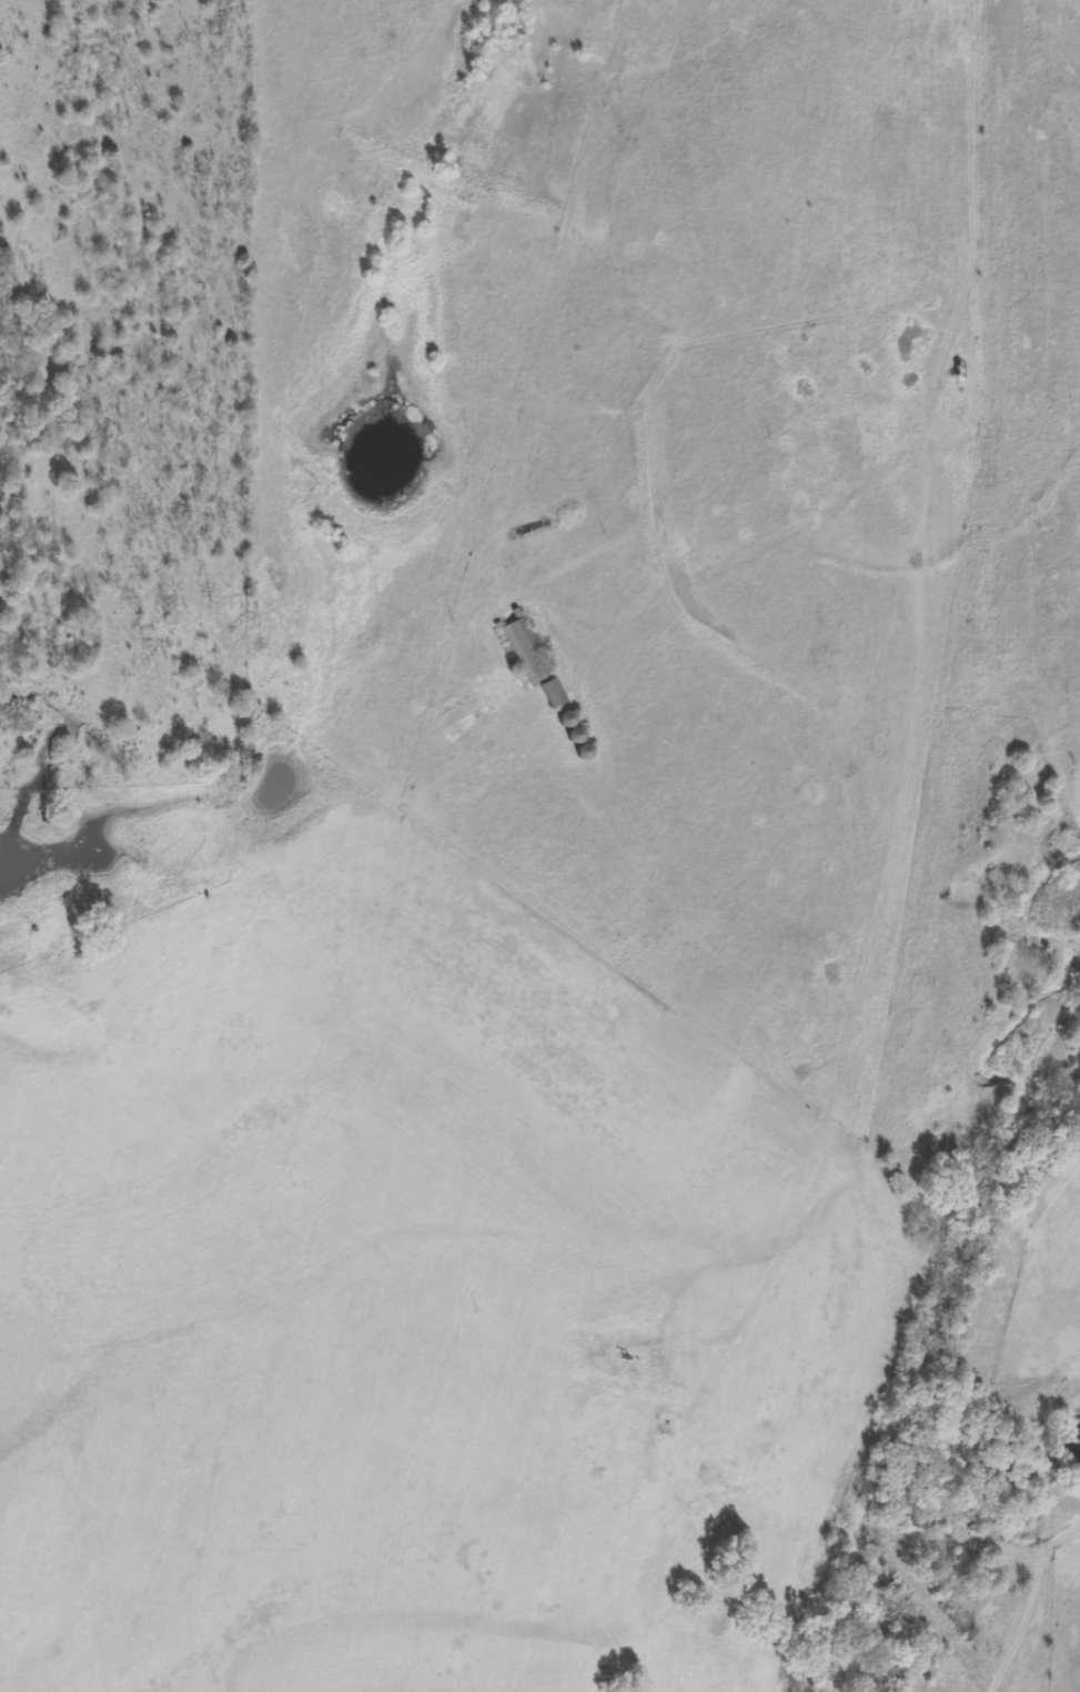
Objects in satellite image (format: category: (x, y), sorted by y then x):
building: (531, 661)
building: (564, 719)
building: (572, 735)
building: (581, 752)
road: (905, 844)
road: (1057, 1646)

